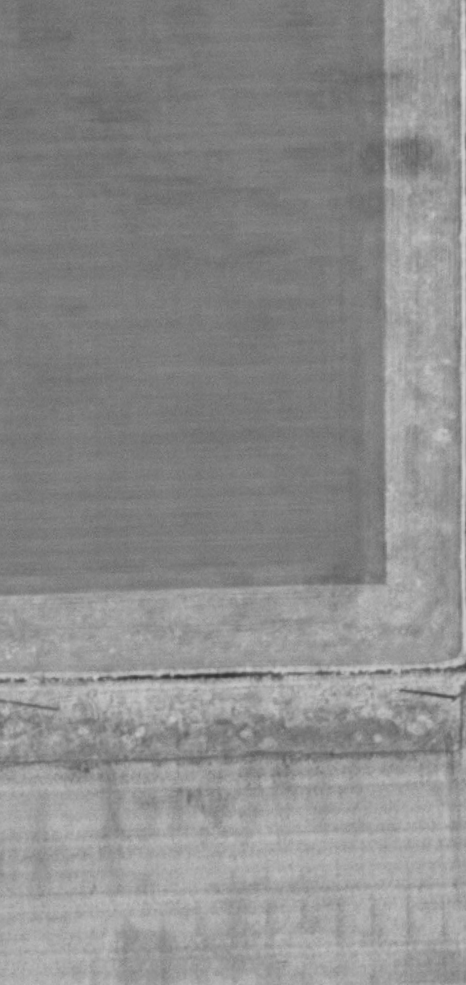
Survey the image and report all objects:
power tower: (451, 699)
power tower: (54, 709)

